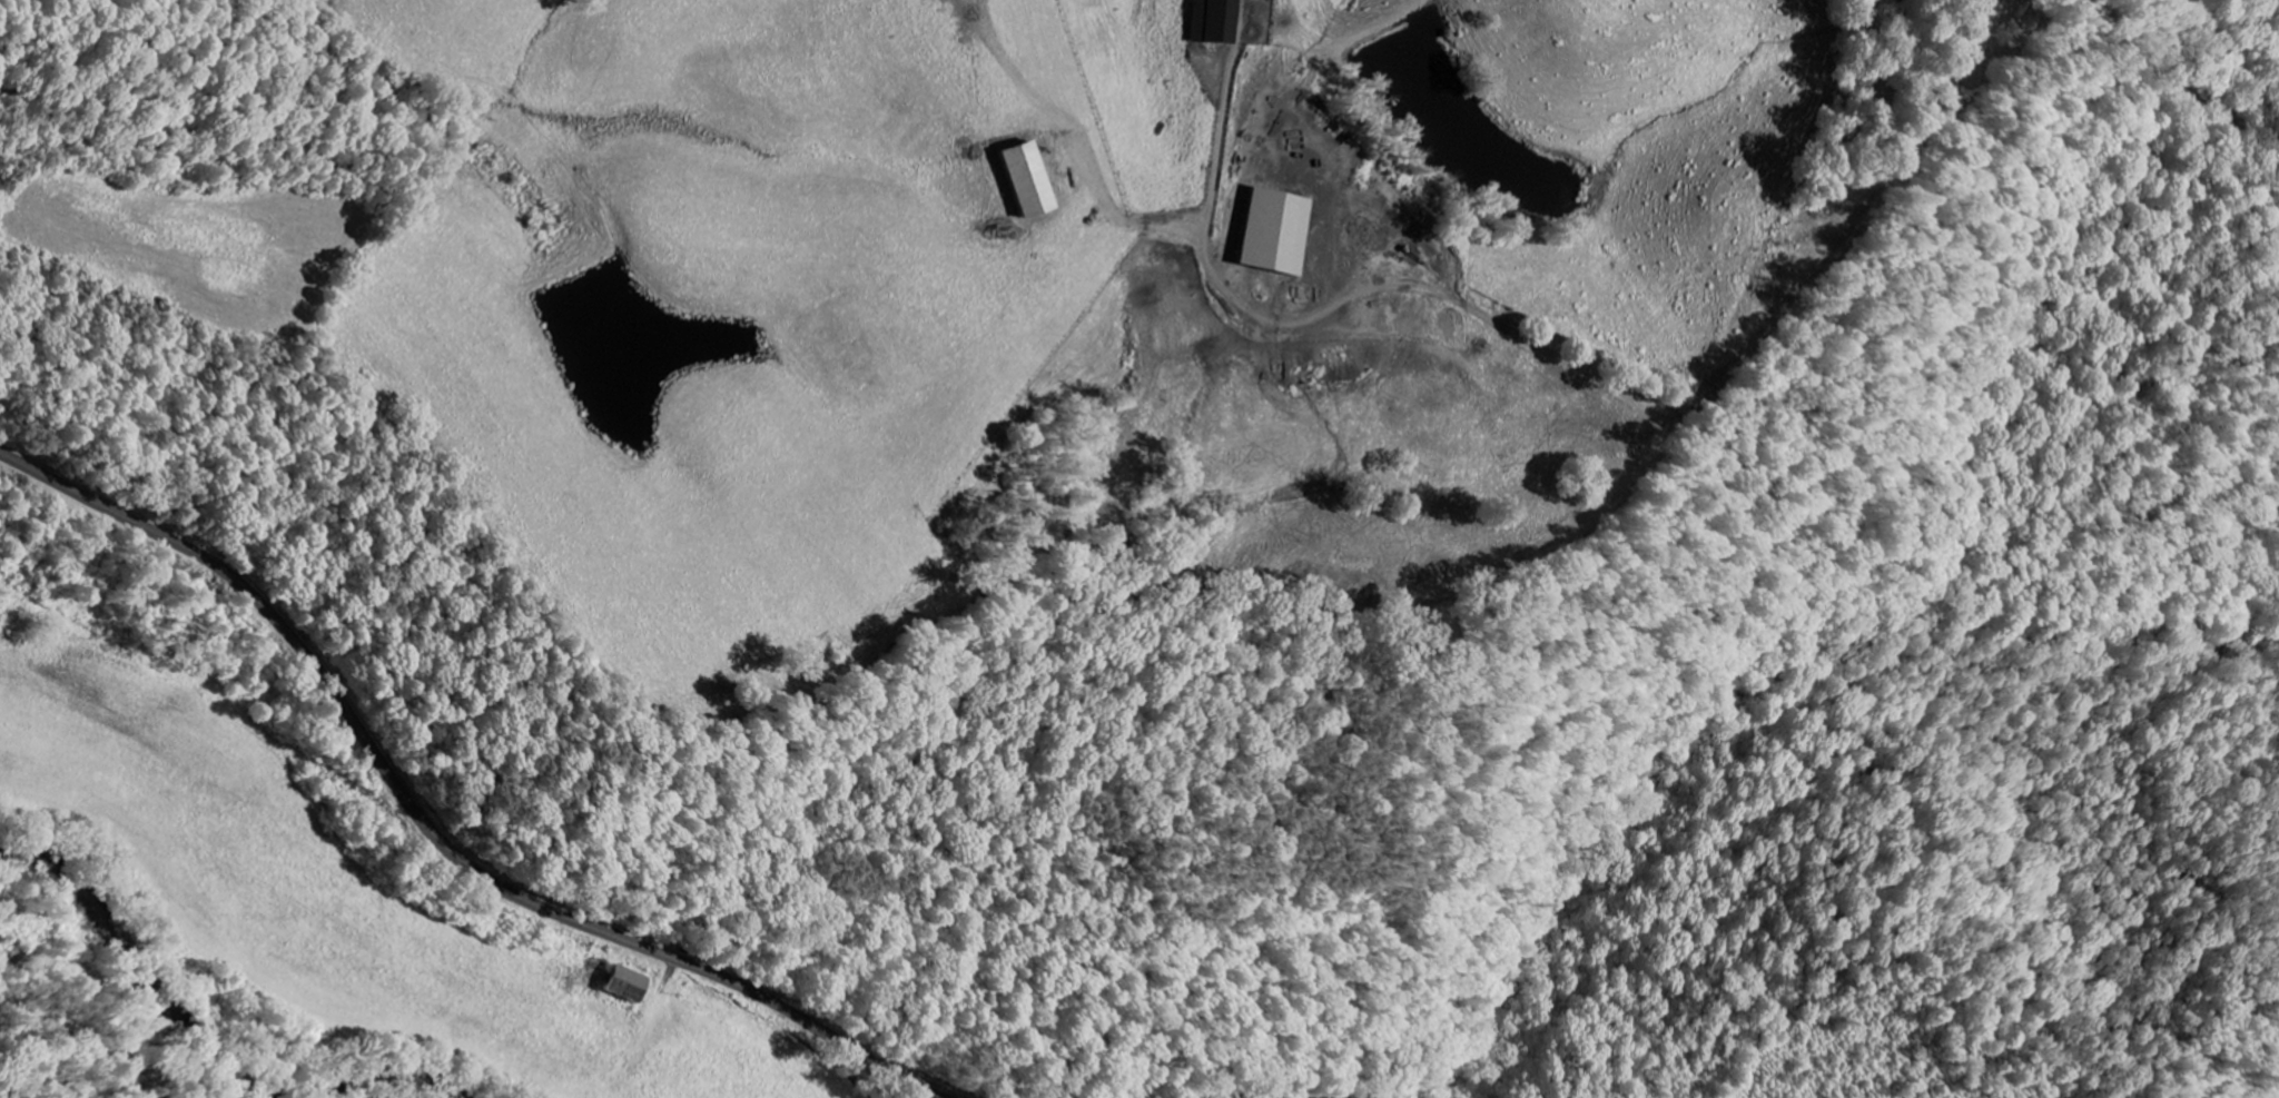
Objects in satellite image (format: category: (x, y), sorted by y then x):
building: (1213, 20)
building: (1027, 178)
building: (1275, 229)
road: (428, 830)
building: (623, 983)
road: (890, 1078)

